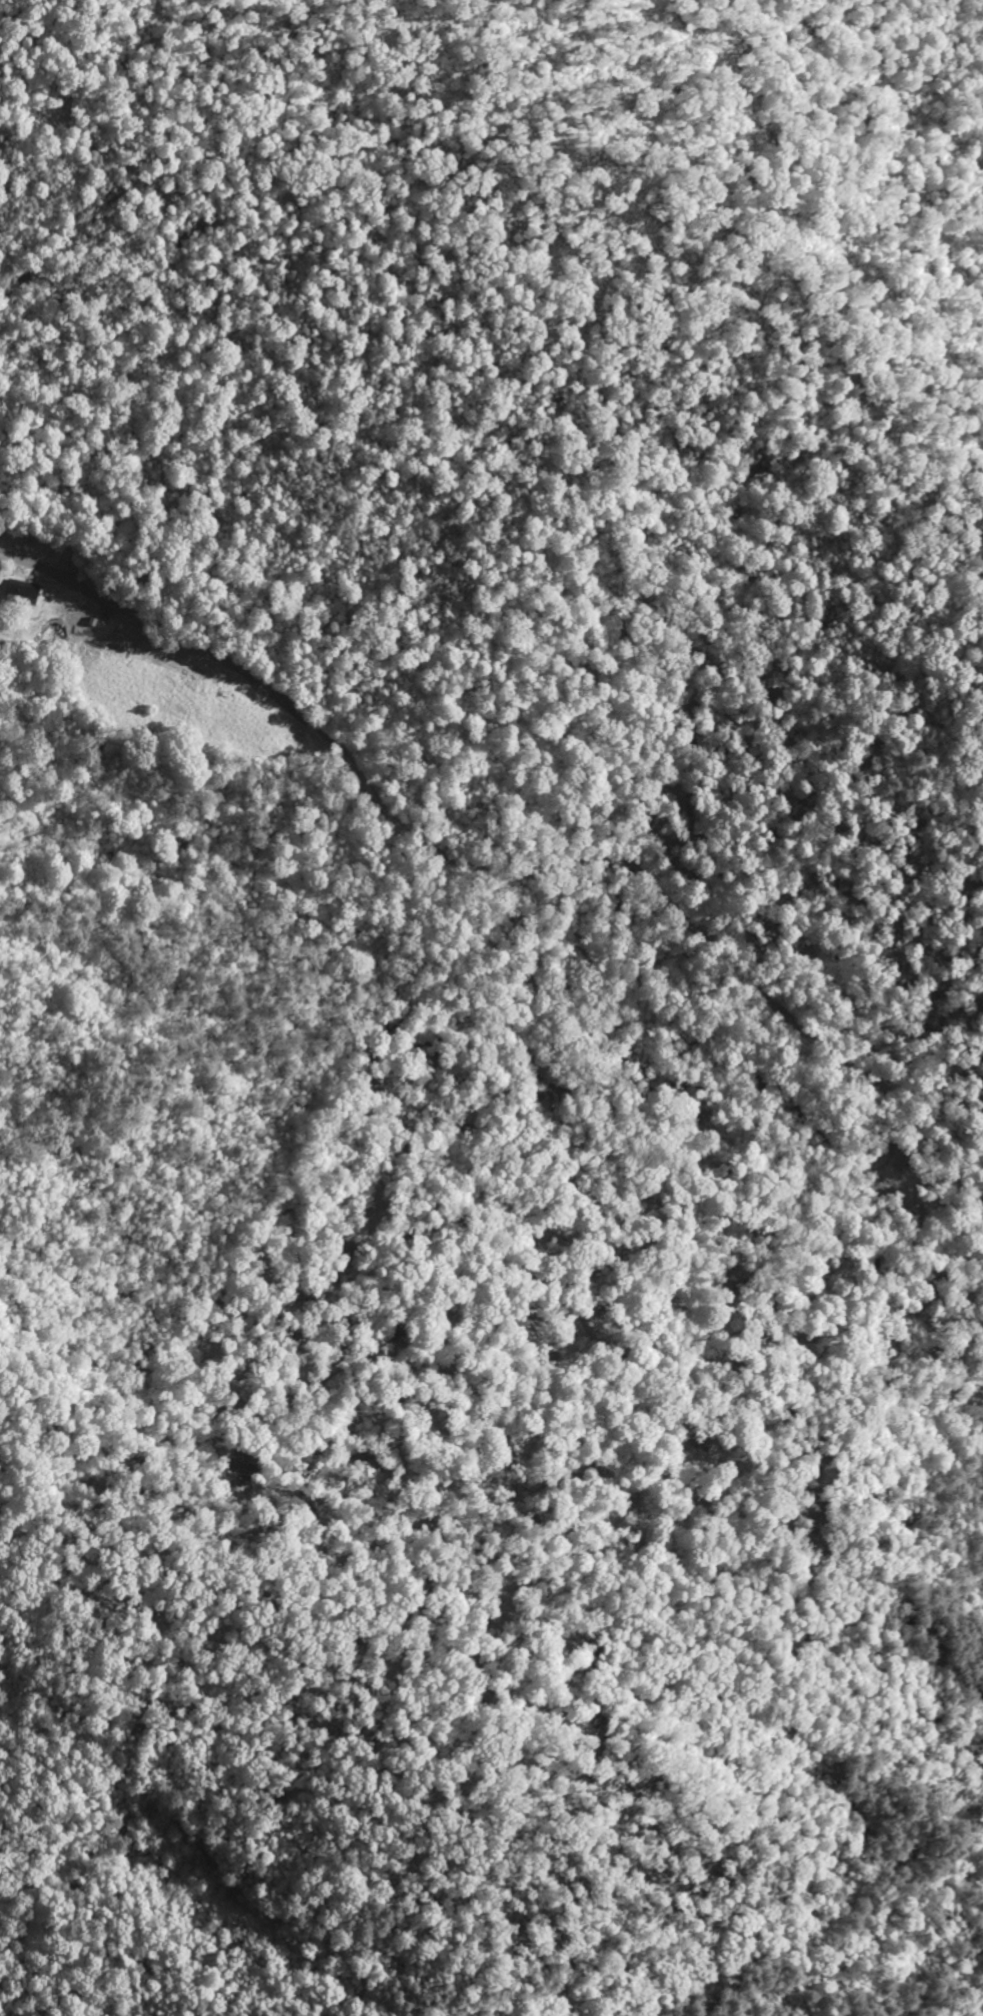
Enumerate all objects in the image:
road: (566, 866)

